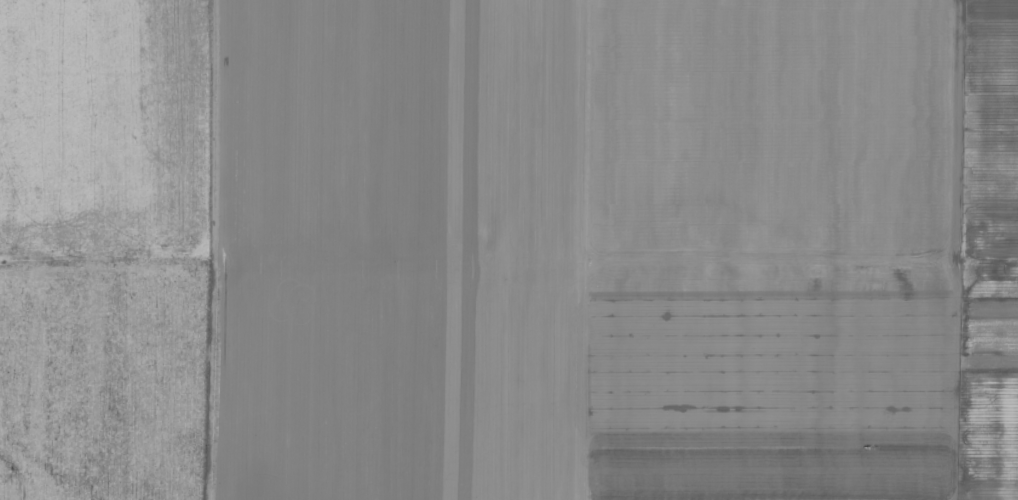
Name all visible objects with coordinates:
crop: (509, 250)

